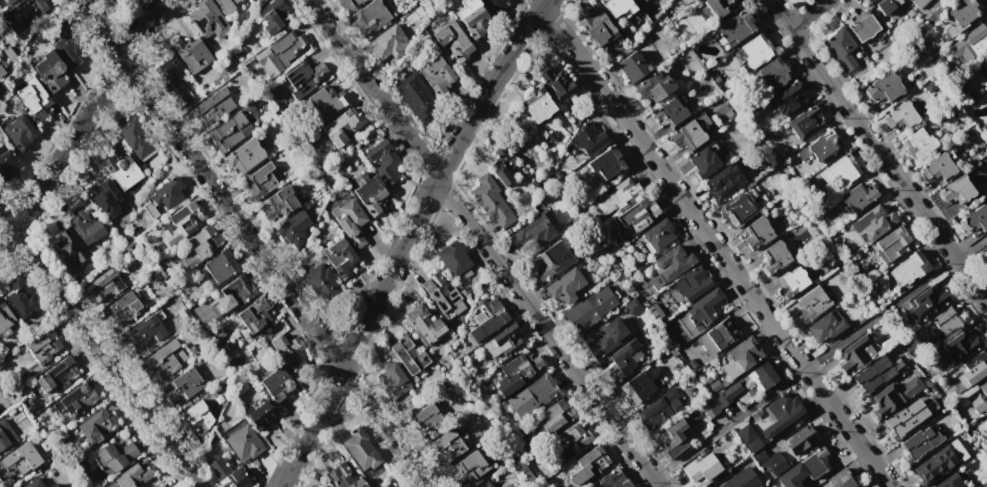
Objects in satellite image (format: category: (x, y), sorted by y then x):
building: (105, 0)
building: (910, 0)
building: (692, 1)
building: (8, 2)
building: (347, 4)
building: (493, 4)
building: (227, 5)
building: (883, 6)
building: (720, 7)
building: (616, 8)
building: (28, 12)
building: (962, 12)
road: (806, 15)
building: (274, 16)
building: (367, 18)
building: (471, 19)
building: (206, 20)
building: (861, 25)
building: (595, 29)
building: (736, 29)
building: (68, 42)
building: (386, 43)
building: (970, 43)
building: (450, 45)
building: (842, 50)
building: (191, 52)
building: (754, 52)
building: (282, 53)
building: (983, 65)
building: (632, 68)
building: (49, 71)
building: (305, 75)
building: (772, 75)
building: (436, 77)
building: (175, 83)
building: (556, 83)
building: (654, 89)
building: (881, 92)
building: (414, 99)
building: (326, 100)
building: (34, 101)
building: (784, 104)
building: (538, 108)
building: (211, 109)
building: (719, 109)
building: (669, 115)
building: (898, 119)
road: (80, 123)
building: (806, 124)
building: (340, 129)
building: (18, 133)
building: (229, 133)
building: (692, 135)
building: (136, 136)
building: (588, 138)
building: (917, 144)
building: (823, 147)
road: (877, 151)
building: (243, 158)
building: (383, 163)
building: (703, 164)
building: (606, 165)
building: (7, 166)
building: (501, 168)
building: (120, 169)
building: (936, 170)
building: (839, 173)
building: (262, 180)
building: (722, 187)
building: (956, 194)
building: (857, 197)
building: (104, 198)
building: (371, 198)
building: (618, 198)
building: (163, 199)
building: (490, 204)
building: (278, 206)
building: (736, 212)
building: (637, 217)
building: (872, 223)
building: (974, 223)
building: (84, 224)
building: (179, 225)
building: (352, 226)
building: (295, 231)
building: (755, 234)
building: (533, 236)
building: (658, 237)
road: (405, 238)
road: (252, 243)
road: (483, 243)
road: (713, 243)
building: (892, 244)
building: (198, 248)
building: (67, 252)
building: (984, 255)
building: (341, 259)
building: (772, 259)
building: (452, 260)
building: (985, 260)
building: (550, 262)
building: (673, 264)
building: (221, 268)
building: (909, 271)
building: (791, 283)
building: (692, 285)
building: (105, 286)
building: (322, 288)
building: (565, 290)
building: (236, 293)
building: (439, 294)
building: (19, 298)
building: (812, 303)
building: (925, 303)
building: (124, 308)
building: (631, 308)
building: (705, 311)
building: (589, 312)
road: (878, 312)
building: (5, 317)
building: (256, 319)
building: (481, 322)
building: (945, 322)
building: (424, 325)
building: (826, 327)
building: (146, 333)
building: (725, 333)
building: (605, 341)
building: (507, 343)
building: (960, 346)
building: (44, 347)
road: (99, 349)
building: (290, 350)
building: (408, 356)
building: (854, 356)
building: (738, 359)
building: (163, 361)
building: (623, 363)
building: (976, 366)
building: (683, 372)
building: (872, 376)
building: (516, 377)
building: (57, 378)
building: (761, 379)
building: (391, 383)
building: (182, 387)
building: (278, 387)
building: (711, 387)
building: (909, 387)
building: (639, 389)
building: (728, 395)
building: (530, 396)
building: (701, 396)
building: (978, 397)
building: (884, 402)
building: (75, 403)
building: (707, 409)
building: (659, 410)
building: (553, 415)
building: (776, 416)
building: (262, 417)
building: (197, 418)
building: (427, 421)
road: (728, 423)
building: (897, 424)
building: (96, 427)
building: (5, 435)
building: (672, 436)
building: (570, 439)
building: (748, 439)
building: (800, 441)
building: (242, 443)
building: (919, 443)
building: (449, 447)
building: (362, 451)
building: (115, 453)
building: (815, 462)
building: (937, 462)
building: (17, 464)
building: (771, 464)
building: (583, 465)
building: (466, 468)
building: (700, 469)
building: (227, 472)
building: (132, 476)
building: (341, 477)
building: (610, 478)
building: (741, 479)
building: (838, 479)
building: (949, 481)
building: (34, 483)
building: (484, 484)
building: (50, 485)
building: (387, 485)
building: (503, 485)

